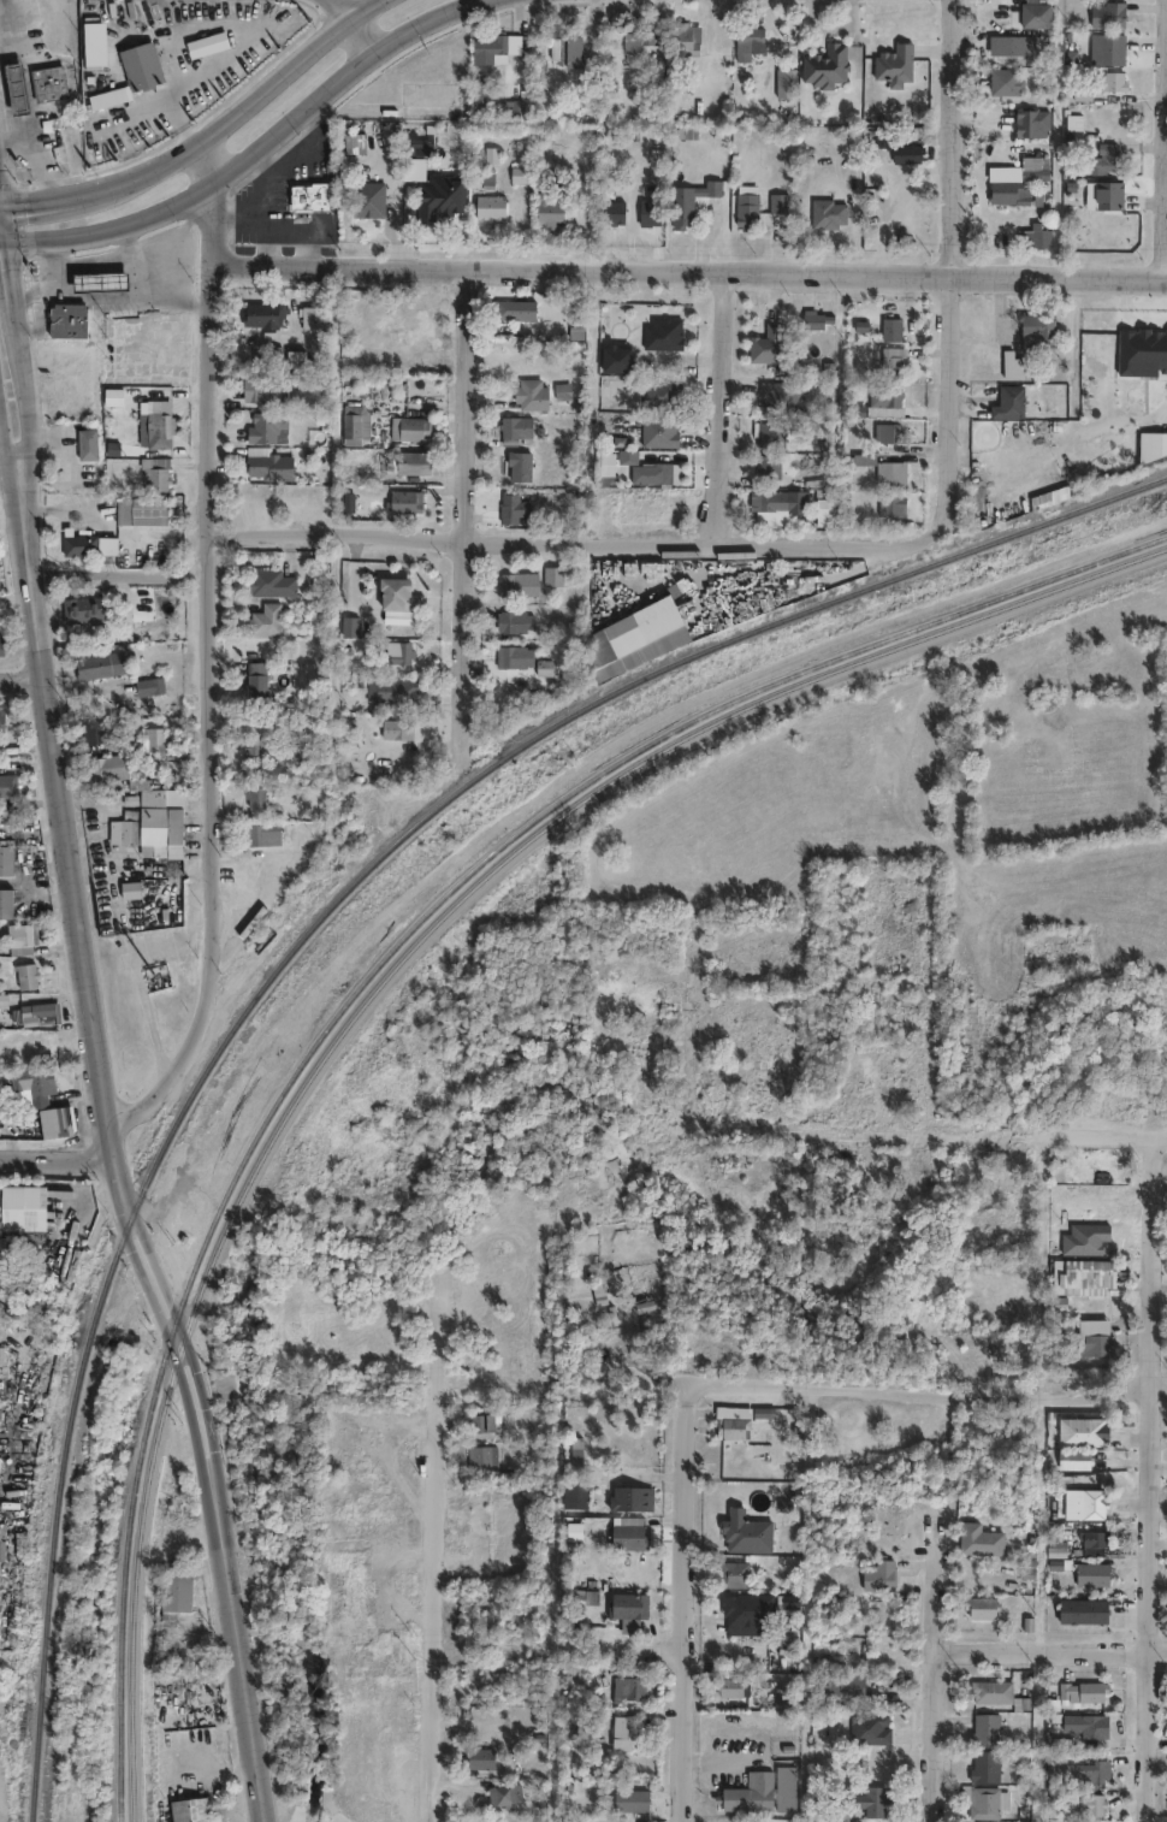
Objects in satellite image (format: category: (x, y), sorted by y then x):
road: (215, 5)
road: (339, 10)
building: (1037, 12)
building: (1110, 12)
road: (11, 24)
road: (363, 36)
building: (686, 36)
building: (635, 40)
building: (748, 40)
building: (1013, 42)
building: (90, 45)
building: (207, 45)
building: (496, 46)
building: (557, 46)
building: (1112, 46)
building: (573, 48)
building: (896, 61)
road: (108, 64)
building: (827, 64)
building: (141, 65)
road: (208, 73)
building: (1008, 78)
building: (1116, 78)
building: (784, 81)
building: (47, 83)
building: (17, 87)
gas station: (17, 87)
building: (1084, 90)
building: (488, 94)
building: (1033, 116)
road: (206, 136)
road: (12, 141)
building: (416, 141)
building: (355, 142)
road: (6, 143)
road: (253, 150)
building: (907, 150)
building: (1104, 155)
road: (207, 161)
road: (292, 161)
building: (1032, 165)
building: (522, 172)
road: (1165, 185)
building: (1009, 189)
building: (1104, 191)
building: (310, 194)
road: (0, 196)
building: (454, 196)
building: (691, 199)
building: (365, 200)
building: (780, 200)
traffic signals: (1, 201)
road: (271, 201)
building: (490, 205)
building: (748, 205)
building: (550, 206)
building: (614, 208)
building: (650, 211)
building: (829, 213)
road: (4, 220)
road: (186, 221)
road: (274, 225)
building: (1033, 232)
road: (126, 237)
road: (4, 239)
traffic signals: (7, 239)
road: (271, 244)
road: (162, 248)
road: (953, 255)
road: (692, 271)
building: (100, 282)
gas station: (100, 282)
road: (12, 284)
road: (37, 285)
road: (25, 296)
building: (510, 307)
building: (261, 312)
building: (408, 312)
building: (309, 314)
building: (816, 317)
building: (69, 320)
building: (1038, 325)
building: (890, 326)
building: (662, 331)
building: (765, 342)
building: (1129, 354)
building: (294, 356)
building: (615, 356)
building: (891, 357)
building: (1012, 363)
building: (823, 365)
building: (309, 380)
building: (253, 386)
building: (561, 389)
road: (24, 390)
building: (658, 391)
building: (529, 392)
building: (777, 394)
building: (890, 394)
building: (109, 395)
building: (1008, 401)
road: (721, 407)
building: (155, 420)
building: (353, 422)
building: (262, 425)
building: (407, 427)
building: (822, 427)
road: (1, 428)
building: (513, 428)
building: (765, 428)
building: (657, 431)
building: (885, 432)
road: (55, 436)
building: (84, 444)
building: (1153, 444)
road: (6, 456)
building: (409, 462)
building: (517, 466)
building: (766, 466)
building: (268, 467)
building: (153, 472)
building: (648, 472)
building: (889, 472)
building: (1060, 493)
building: (404, 501)
building: (765, 501)
building: (890, 505)
building: (511, 508)
road: (57, 509)
building: (135, 510)
road: (468, 510)
building: (824, 516)
road: (582, 539)
building: (82, 540)
road: (120, 576)
building: (552, 578)
building: (268, 581)
building: (519, 585)
road: (212, 591)
building: (396, 596)
building: (81, 609)
building: (263, 617)
building: (514, 622)
building: (648, 631)
road: (1044, 638)
building: (2, 649)
building: (395, 653)
building: (514, 659)
building: (99, 665)
building: (541, 667)
road: (20, 679)
building: (254, 679)
building: (149, 686)
building: (389, 691)
building: (1, 718)
building: (93, 730)
building: (393, 730)
building: (153, 738)
building: (256, 751)
building: (294, 752)
building: (109, 767)
building: (4, 780)
building: (251, 798)
building: (160, 818)
building: (130, 828)
road: (38, 834)
building: (260, 835)
building: (2, 854)
road: (37, 892)
building: (1, 899)
railway: (320, 919)
road: (119, 924)
building: (13, 934)
railway: (378, 969)
building: (18, 971)
building: (28, 976)
railway: (387, 980)
road: (694, 998)
building: (31, 1008)
building: (24, 1078)
road: (162, 1082)
road: (79, 1095)
building: (47, 1116)
road: (928, 1136)
road: (105, 1141)
road: (53, 1155)
building: (1071, 1197)
road: (1039, 1199)
road: (91, 1200)
building: (8, 1203)
building: (1082, 1274)
building: (648, 1302)
building: (1090, 1335)
road: (935, 1397)
building: (526, 1415)
building: (728, 1419)
building: (486, 1424)
building: (790, 1427)
building: (1079, 1428)
building: (478, 1453)
building: (1073, 1461)
road: (1154, 1479)
building: (569, 1491)
building: (624, 1496)
building: (1080, 1501)
building: (740, 1530)
building: (623, 1534)
building: (977, 1537)
building: (1089, 1539)
building: (1052, 1546)
building: (632, 1564)
building: (729, 1568)
building: (1088, 1572)
building: (875, 1574)
building: (167, 1590)
road: (201, 1596)
building: (782, 1599)
building: (623, 1603)
building: (977, 1604)
road: (436, 1605)
road: (687, 1607)
building: (1079, 1609)
building: (744, 1611)
road: (1052, 1651)
road: (936, 1673)
building: (624, 1682)
building: (841, 1684)
building: (728, 1685)
building: (1079, 1691)
building: (782, 1693)
building: (994, 1693)
building: (866, 1726)
building: (1089, 1726)
building: (983, 1729)
building: (617, 1731)
building: (475, 1761)
building: (982, 1765)
building: (1088, 1770)
road: (220, 1771)
building: (762, 1790)
building: (499, 1793)
building: (627, 1798)
building: (867, 1799)
building: (979, 1800)
building: (1088, 1804)
building: (185, 1810)
building: (770, 1821)
building: (840, 1821)

